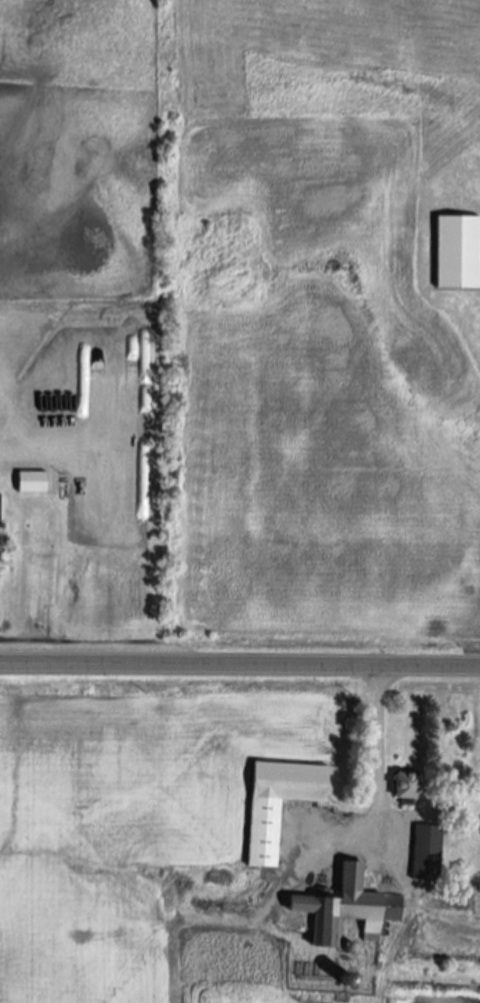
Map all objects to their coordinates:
building: (457, 253)
building: (33, 483)
building: (1, 528)
road: (240, 666)
road: (381, 754)
building: (415, 788)
building: (280, 805)
building: (429, 858)
building: (349, 910)

